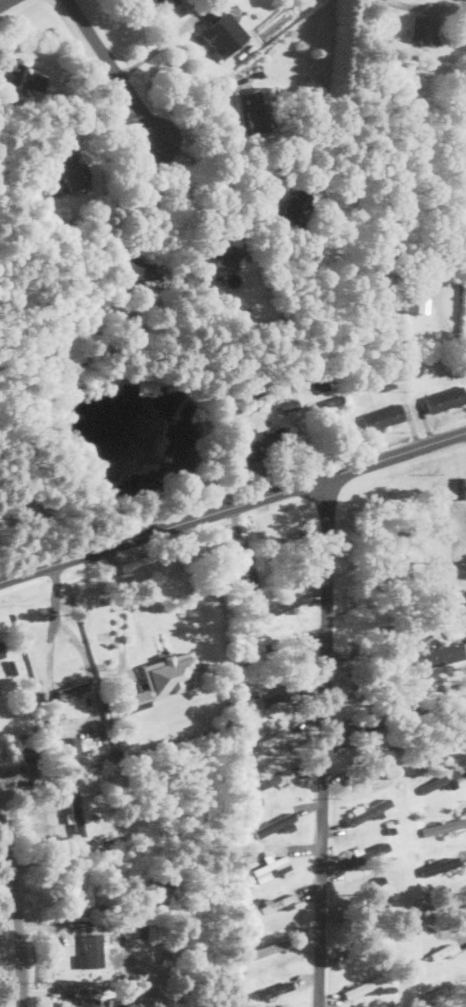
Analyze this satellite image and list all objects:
road: (4, 2)
road: (427, 4)
building: (418, 27)
building: (223, 32)
road: (115, 68)
building: (22, 77)
building: (251, 112)
road: (203, 114)
building: (69, 168)
road: (185, 196)
road: (157, 198)
building: (288, 207)
building: (216, 258)
building: (132, 266)
building: (417, 303)
road: (446, 325)
building: (445, 397)
building: (288, 403)
building: (382, 415)
building: (259, 440)
road: (233, 506)
building: (249, 564)
building: (286, 603)
road: (120, 614)
building: (1, 651)
building: (439, 653)
building: (164, 678)
building: (72, 687)
building: (272, 697)
road: (61, 716)
road: (322, 741)
building: (71, 744)
building: (367, 810)
building: (74, 812)
building: (276, 824)
building: (444, 826)
building: (437, 864)
building: (271, 868)
building: (82, 881)
road: (20, 913)
building: (269, 947)
building: (90, 950)
building: (364, 986)
building: (273, 989)
building: (118, 1001)
building: (88, 1002)

